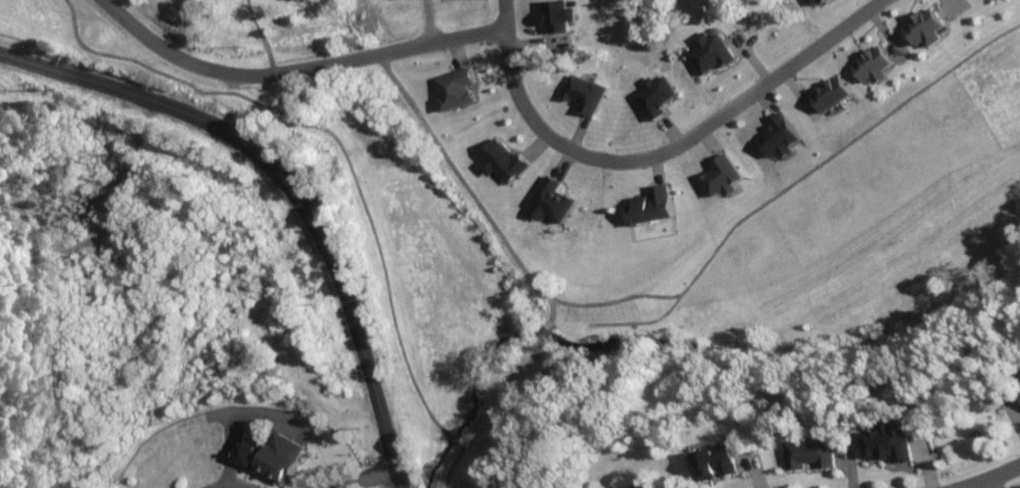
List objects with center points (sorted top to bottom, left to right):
building: (819, 0)
building: (810, 1)
building: (555, 14)
building: (921, 26)
building: (708, 51)
building: (870, 64)
road: (293, 73)
building: (452, 88)
building: (583, 93)
building: (828, 93)
building: (653, 95)
building: (777, 136)
road: (660, 155)
building: (500, 160)
building: (719, 175)
road: (286, 191)
road: (124, 196)
building: (548, 200)
building: (649, 204)
building: (1019, 392)
building: (242, 442)
building: (886, 442)
building: (809, 453)
building: (274, 456)
building: (712, 461)
road: (985, 476)
road: (363, 478)
road: (1006, 478)
building: (636, 485)
road: (227, 487)

